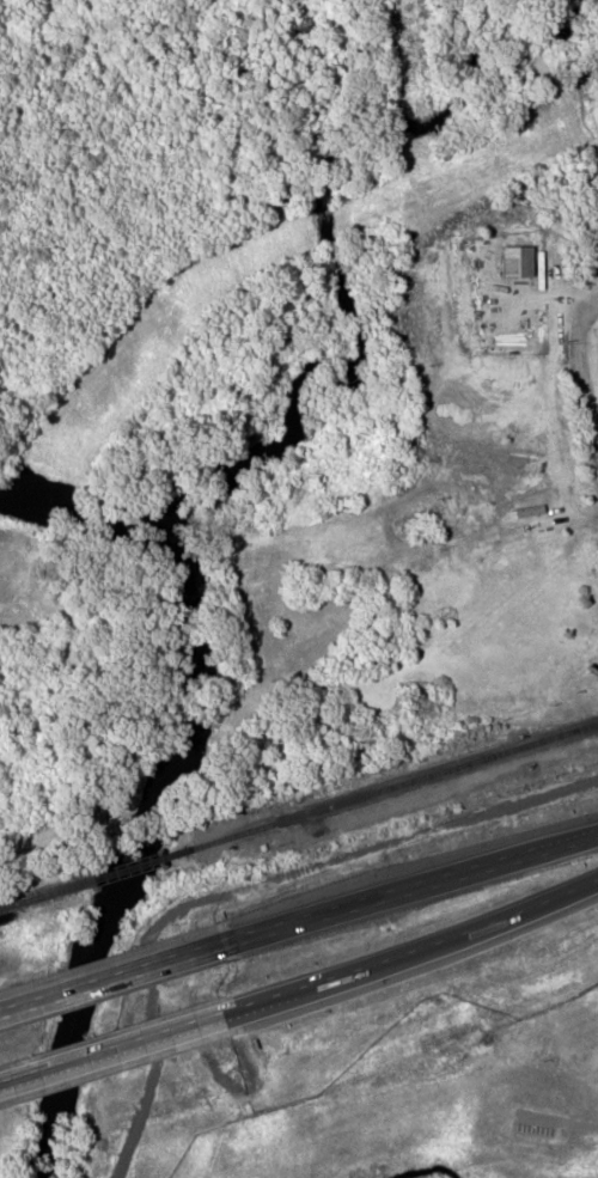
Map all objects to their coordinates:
building: (395, 591)
river: (144, 770)
railway: (395, 785)
road: (581, 841)
railway: (145, 862)
railway: (49, 892)
road: (402, 892)
road: (498, 918)
road: (118, 976)
road: (312, 985)
road: (112, 1049)
airport: (395, 1091)

